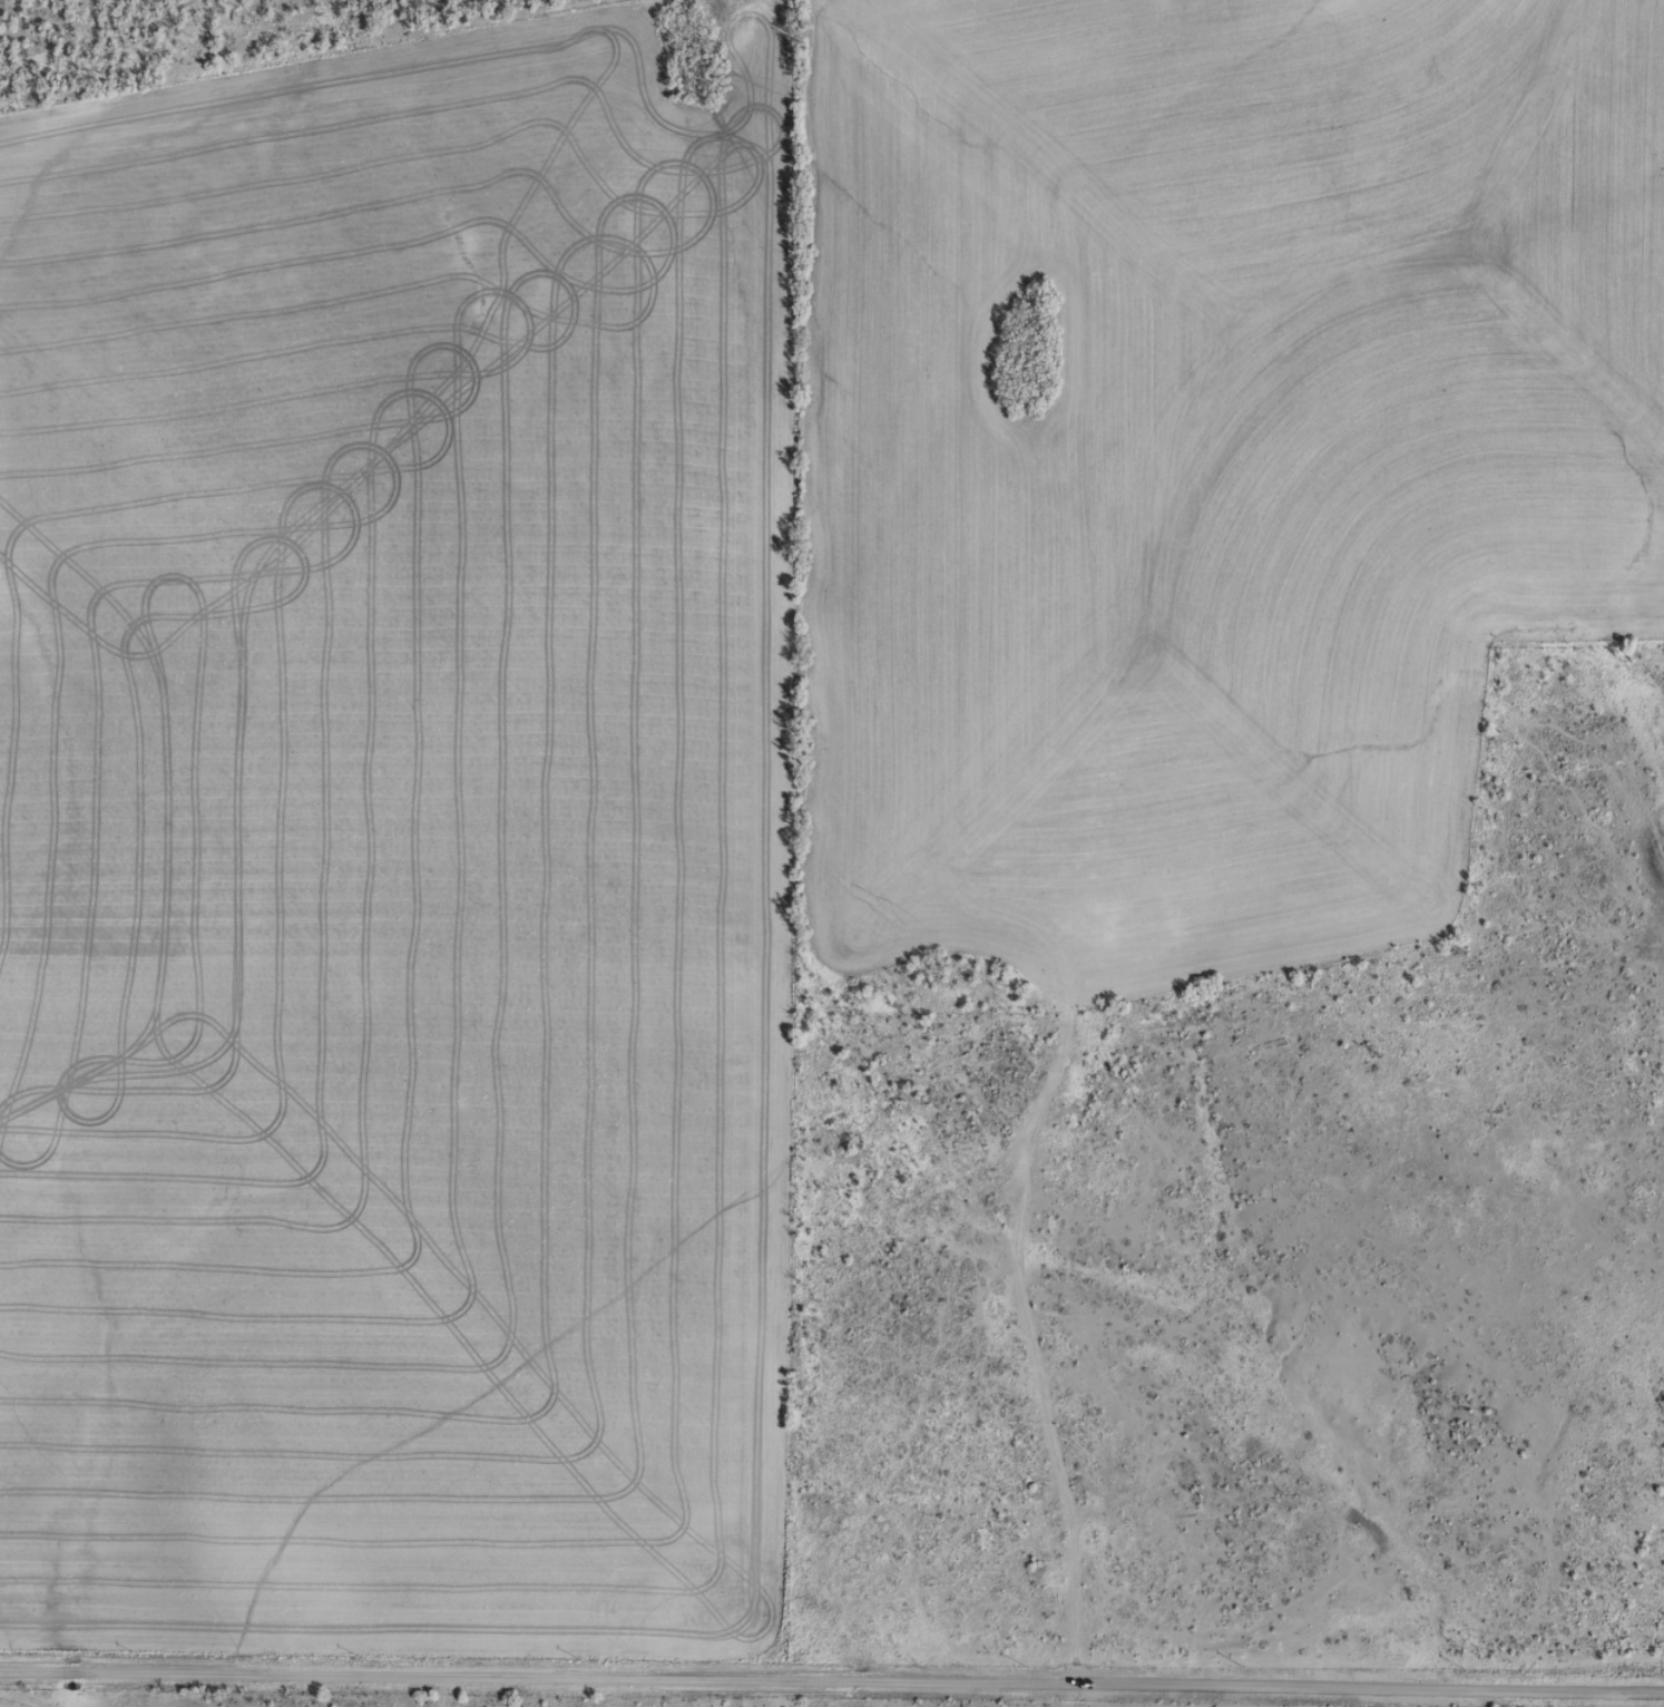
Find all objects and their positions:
road: (832, 1679)

